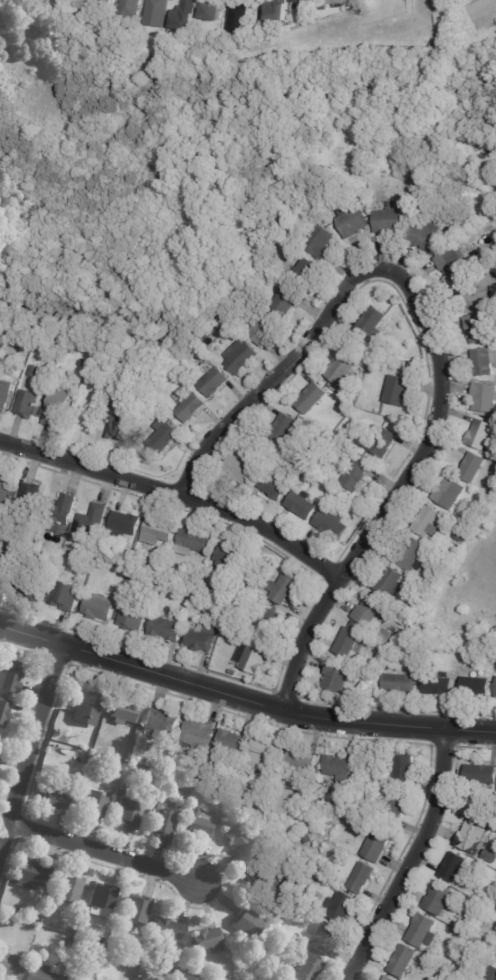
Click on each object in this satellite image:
building: (305, 2)
building: (336, 2)
building: (33, 3)
building: (104, 5)
building: (325, 8)
building: (129, 11)
building: (210, 12)
building: (276, 12)
building: (156, 13)
building: (183, 17)
building: (237, 18)
building: (186, 46)
park: (170, 139)
building: (389, 221)
building: (350, 222)
building: (423, 238)
building: (318, 244)
building: (451, 263)
building: (305, 272)
building: (471, 293)
building: (284, 303)
building: (372, 324)
building: (475, 328)
building: (261, 332)
building: (223, 337)
building: (4, 343)
road: (435, 343)
building: (208, 349)
building: (365, 349)
building: (239, 359)
building: (366, 361)
building: (483, 362)
building: (401, 364)
building: (343, 371)
building: (32, 373)
building: (213, 384)
building: (397, 390)
building: (100, 394)
building: (5, 395)
building: (484, 397)
building: (311, 398)
building: (26, 405)
building: (343, 407)
building: (57, 408)
building: (191, 410)
building: (36, 413)
building: (146, 414)
building: (117, 416)
building: (93, 417)
building: (119, 429)
building: (283, 429)
building: (479, 435)
building: (326, 436)
building: (163, 438)
building: (383, 443)
building: (269, 450)
building: (279, 455)
building: (238, 468)
building: (472, 468)
building: (356, 475)
building: (313, 478)
building: (275, 484)
building: (4, 490)
building: (448, 493)
road: (176, 494)
building: (29, 500)
building: (488, 504)
building: (301, 506)
building: (59, 516)
building: (426, 522)
building: (125, 524)
building: (331, 524)
building: (90, 525)
building: (156, 535)
building: (460, 537)
building: (194, 543)
building: (409, 554)
building: (229, 565)
building: (85, 568)
building: (4, 580)
building: (389, 582)
building: (30, 584)
building: (249, 585)
building: (283, 589)
building: (65, 597)
building: (198, 600)
building: (98, 611)
building: (409, 612)
building: (231, 614)
building: (370, 614)
building: (131, 619)
building: (406, 620)
building: (269, 624)
building: (165, 631)
building: (199, 642)
building: (347, 643)
building: (386, 651)
building: (476, 652)
building: (255, 659)
building: (232, 674)
building: (10, 677)
building: (336, 677)
building: (365, 679)
building: (399, 684)
building: (438, 687)
building: (475, 687)
building: (495, 692)
road: (244, 698)
building: (87, 708)
building: (4, 712)
building: (124, 713)
building: (161, 723)
building: (196, 735)
building: (0, 739)
building: (230, 742)
building: (0, 747)
road: (31, 747)
building: (263, 756)
building: (301, 759)
building: (145, 762)
building: (154, 764)
building: (339, 769)
building: (366, 769)
building: (402, 773)
building: (481, 775)
building: (243, 777)
building: (194, 779)
building: (377, 782)
building: (228, 785)
building: (243, 790)
building: (123, 792)
building: (218, 795)
building: (58, 797)
building: (334, 802)
building: (493, 802)
building: (244, 804)
building: (94, 805)
building: (329, 806)
building: (392, 813)
building: (128, 814)
building: (163, 822)
building: (483, 822)
building: (200, 824)
building: (495, 831)
building: (471, 839)
building: (238, 840)
building: (307, 840)
building: (376, 847)
road: (103, 851)
building: (490, 857)
road: (412, 859)
building: (452, 868)
building: (32, 876)
building: (315, 876)
building: (264, 879)
building: (361, 879)
building: (312, 881)
building: (69, 888)
building: (438, 900)
building: (102, 902)
building: (339, 909)
building: (137, 911)
building: (17, 913)
building: (6, 914)
building: (248, 924)
building: (420, 932)
building: (168, 933)
building: (101, 934)
building: (88, 939)
building: (99, 940)
building: (321, 940)
building: (208, 941)
building: (475, 942)
building: (136, 951)
building: (401, 962)
building: (179, 963)
building: (10, 967)
building: (272, 967)
building: (309, 969)
building: (40, 974)
building: (492, 974)
building: (68, 978)
building: (228, 978)
building: (387, 979)

